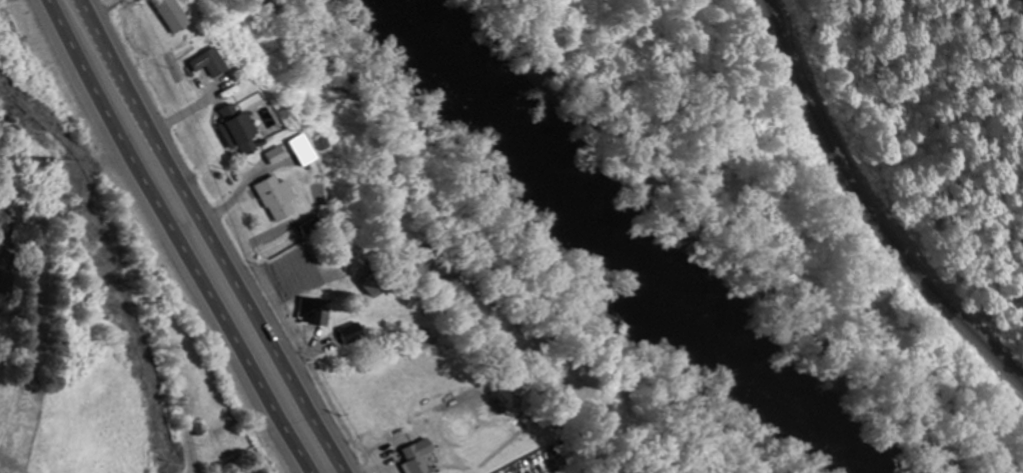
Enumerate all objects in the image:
building: (157, 14)
building: (197, 63)
building: (229, 130)
building: (292, 150)
building: (269, 198)
railway: (868, 208)
road: (174, 237)
road: (214, 237)
river: (623, 245)
building: (363, 288)
building: (308, 312)
building: (347, 334)
building: (407, 460)

